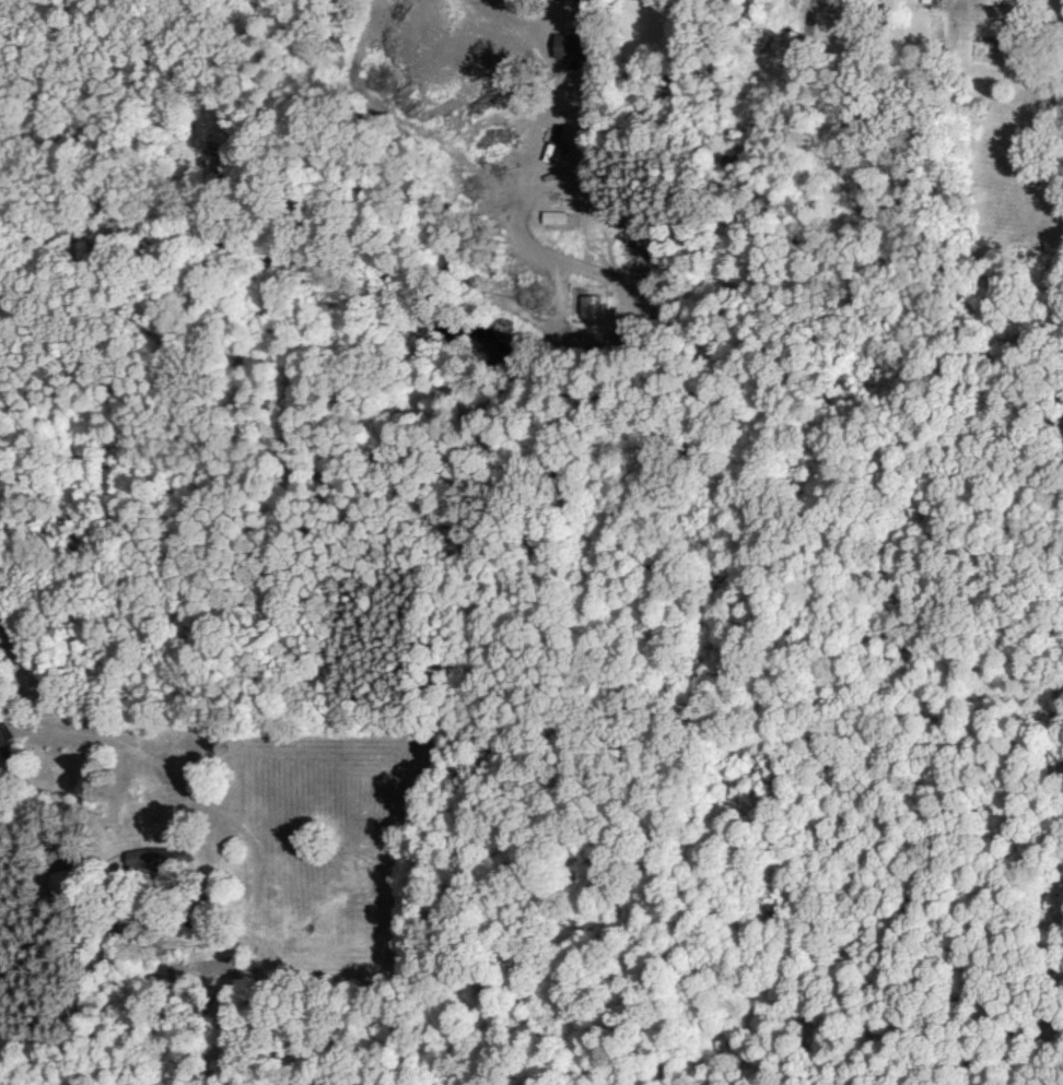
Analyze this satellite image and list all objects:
road: (152, 32)
building: (1058, 49)
building: (1058, 90)
building: (569, 106)
building: (214, 163)
road: (31, 789)
building: (161, 857)

